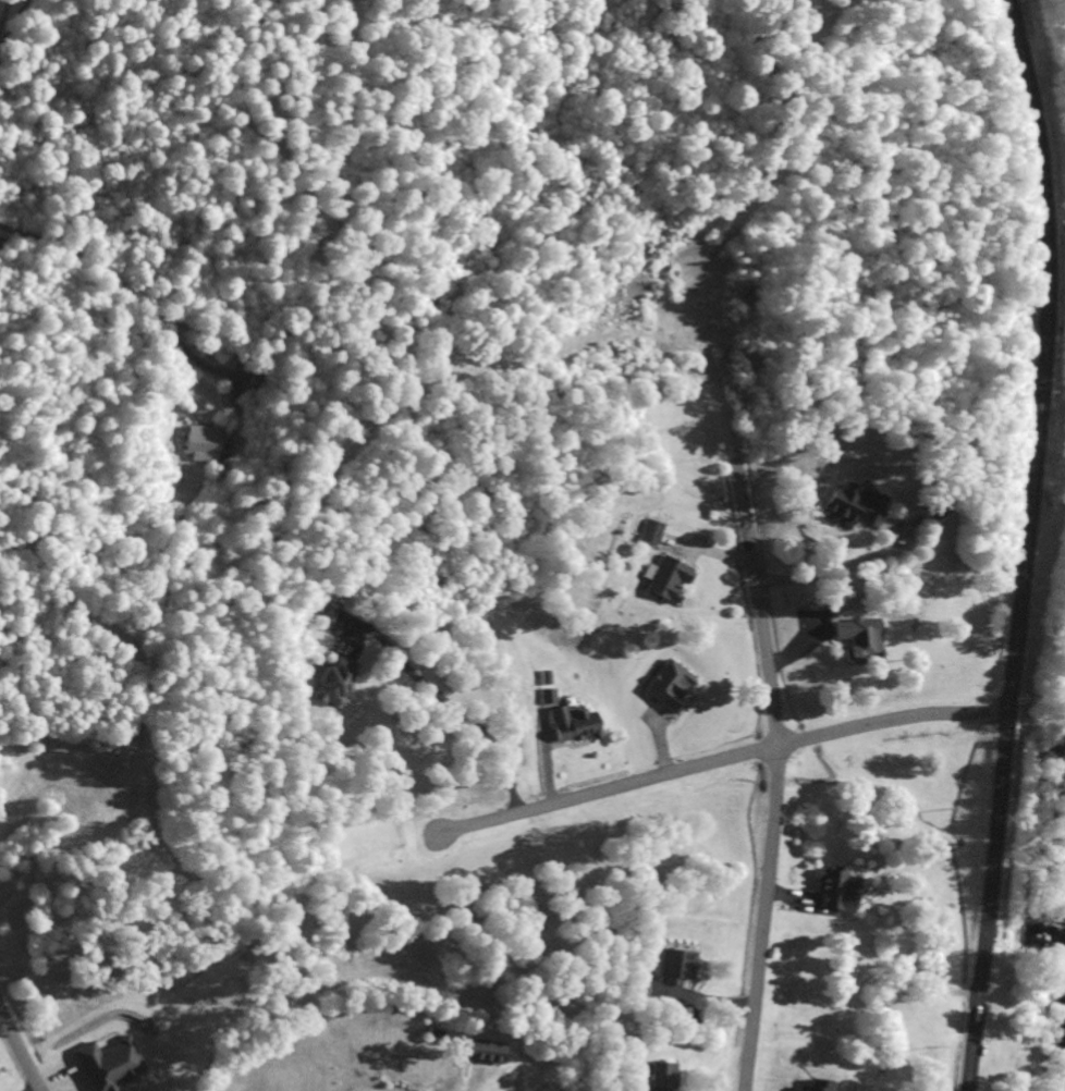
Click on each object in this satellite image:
building: (0, 242)
building: (199, 445)
building: (846, 508)
building: (918, 514)
building: (644, 535)
road: (1024, 544)
building: (660, 583)
road: (760, 606)
building: (319, 612)
building: (853, 638)
building: (319, 684)
building: (663, 688)
road: (890, 723)
building: (566, 725)
road: (371, 750)
road: (610, 788)
building: (830, 893)
road: (843, 910)
road: (763, 919)
building: (662, 974)
road: (21, 1049)
building: (477, 1054)
building: (649, 1078)

